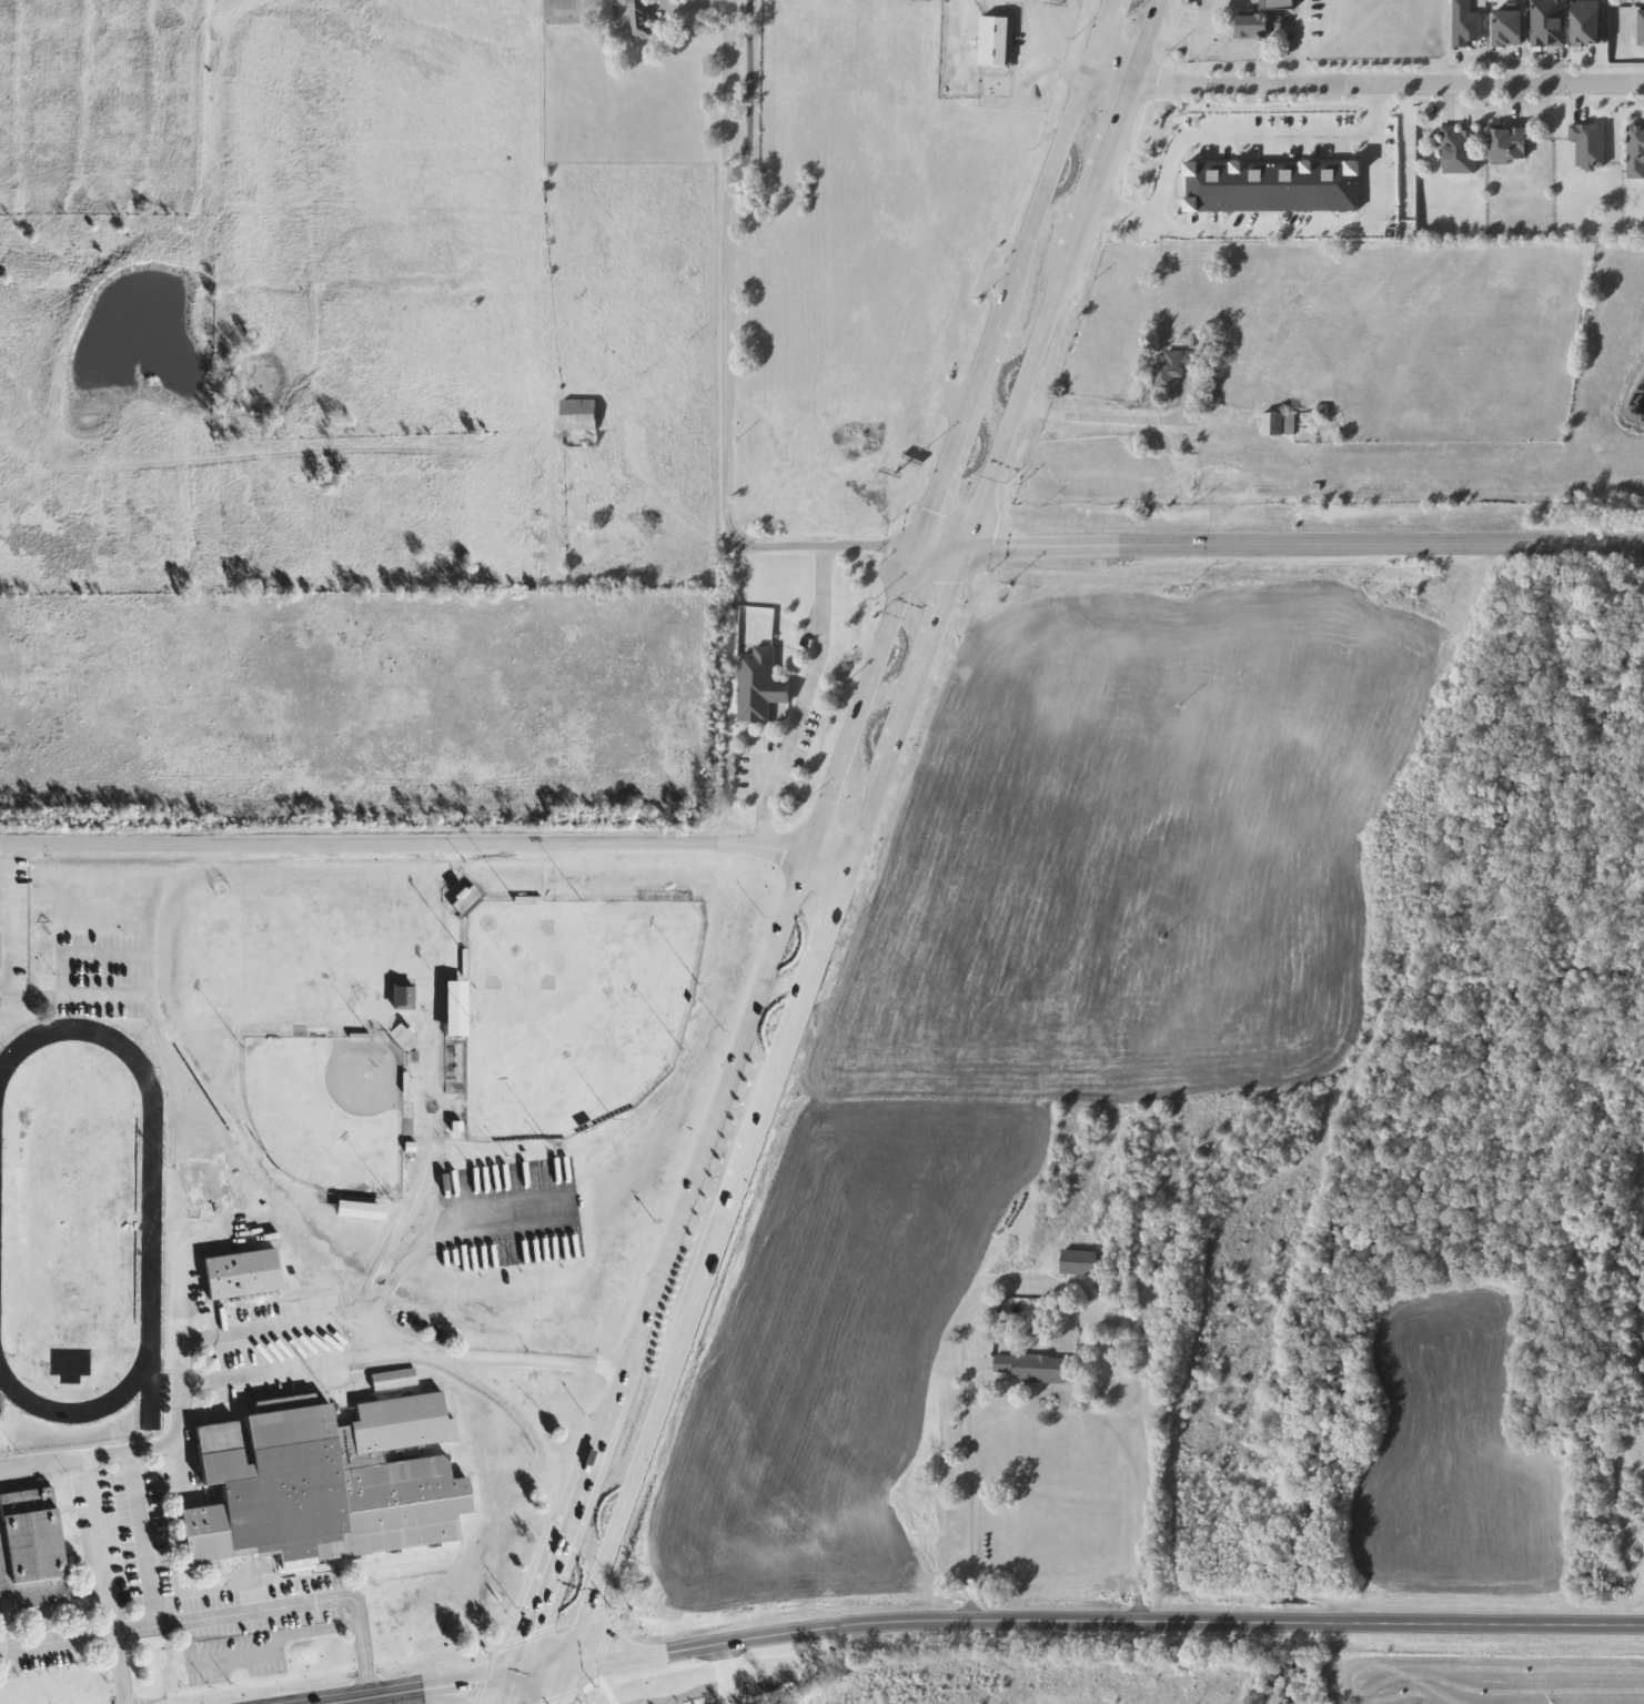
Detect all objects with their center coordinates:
building: (1278, 4)
building: (634, 17)
building: (1546, 23)
building: (1464, 24)
building: (1251, 29)
building: (1507, 29)
building: (1640, 29)
road: (1187, 38)
building: (994, 43)
road: (1298, 47)
road: (1056, 69)
road: (744, 89)
road: (1361, 93)
building: (1509, 145)
building: (1458, 152)
building: (1634, 153)
road: (1290, 230)
road: (730, 273)
building: (1172, 366)
building: (576, 416)
road: (1088, 416)
building: (1277, 425)
road: (1300, 547)
traffic signals: (914, 551)
road: (935, 551)
road: (825, 552)
traffic signals: (957, 552)
road: (811, 657)
building: (758, 686)
road: (762, 799)
road: (857, 833)
road: (810, 836)
road: (424, 844)
building: (465, 900)
road: (4, 920)
building: (401, 995)
park: (571, 1010)
building: (401, 1038)
park: (326, 1110)
building: (357, 1209)
track: (151, 1212)
road: (435, 1226)
road: (380, 1237)
building: (1077, 1263)
building: (238, 1274)
road: (296, 1315)
road: (395, 1350)
building: (1033, 1369)
building: (391, 1379)
road: (179, 1384)
building: (322, 1483)
road: (962, 1492)
road: (94, 1500)
building: (30, 1550)
road: (280, 1607)
road: (1100, 1622)
road: (92, 1634)
road: (604, 1639)
traffic signals: (561, 1666)
traffic signals: (506, 1671)
road: (733, 1673)
road: (431, 1682)
road: (553, 1685)
road: (500, 1687)
road: (437, 1694)

